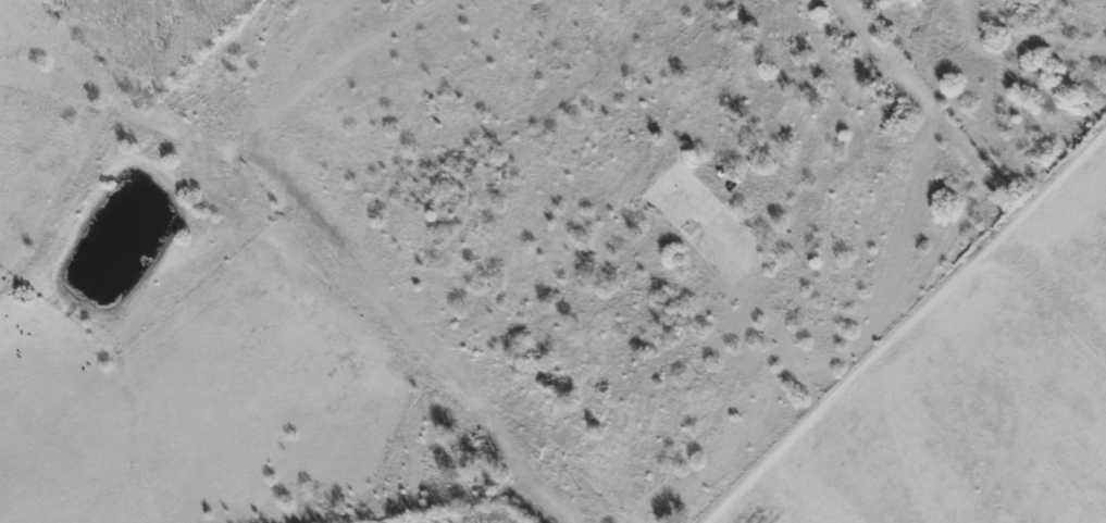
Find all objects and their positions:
road: (904, 326)

